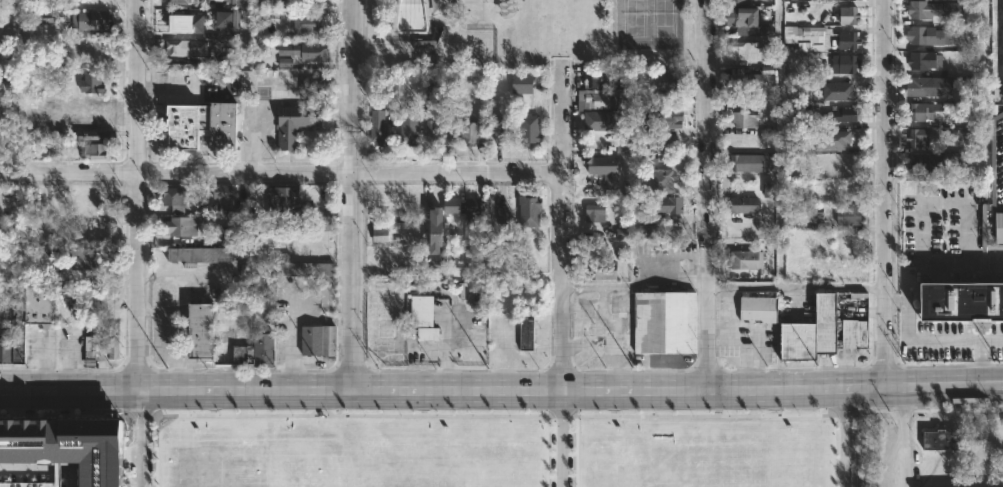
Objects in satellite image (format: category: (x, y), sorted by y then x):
building: (181, 1)
building: (228, 2)
building: (741, 2)
building: (282, 3)
building: (507, 5)
park: (474, 9)
building: (938, 11)
building: (849, 15)
building: (746, 17)
building: (93, 20)
building: (187, 23)
park: (632, 23)
building: (312, 24)
park: (665, 24)
building: (230, 26)
building: (436, 34)
building: (806, 36)
building: (928, 36)
building: (849, 39)
road: (383, 40)
building: (1002, 42)
building: (178, 48)
building: (307, 50)
building: (744, 50)
building: (921, 58)
building: (285, 62)
building: (175, 63)
building: (847, 64)
building: (746, 79)
building: (671, 81)
building: (318, 82)
building: (523, 83)
building: (11, 84)
building: (92, 84)
building: (921, 86)
building: (970, 86)
building: (839, 90)
building: (600, 94)
building: (921, 112)
building: (846, 115)
building: (55, 116)
building: (666, 117)
building: (747, 120)
building: (601, 121)
building: (296, 125)
building: (204, 127)
building: (431, 127)
building: (379, 128)
building: (409, 130)
building: (501, 130)
building: (530, 130)
building: (446, 131)
building: (470, 133)
building: (920, 138)
building: (832, 140)
building: (94, 151)
building: (938, 162)
parking lot: (998, 162)
building: (748, 163)
building: (955, 164)
building: (605, 170)
road: (281, 173)
building: (665, 180)
building: (768, 189)
building: (221, 191)
road: (886, 192)
road: (138, 193)
road: (353, 194)
road: (706, 195)
building: (175, 199)
building: (50, 200)
road: (921, 201)
building: (452, 204)
building: (670, 205)
building: (744, 205)
building: (474, 206)
building: (212, 208)
building: (530, 210)
building: (597, 213)
building: (504, 215)
building: (850, 216)
building: (285, 217)
building: (83, 220)
building: (647, 223)
road: (561, 226)
building: (182, 227)
building: (1000, 229)
building: (437, 230)
building: (380, 231)
building: (81, 235)
building: (228, 236)
parking lot: (948, 236)
building: (850, 239)
building: (199, 253)
building: (623, 253)
road: (661, 256)
building: (86, 258)
building: (746, 258)
road: (244, 259)
road: (985, 263)
building: (600, 266)
building: (288, 268)
road: (633, 286)
road: (795, 287)
building: (960, 303)
road: (290, 307)
building: (760, 308)
building: (422, 309)
road: (321, 316)
road: (604, 316)
building: (664, 323)
building: (528, 329)
building: (824, 330)
building: (429, 333)
road: (755, 334)
building: (227, 335)
building: (111, 339)
building: (320, 339)
building: (15, 340)
road: (927, 342)
parking lot: (951, 342)
road: (610, 345)
building: (91, 351)
road: (982, 361)
road: (501, 389)
road: (902, 435)
road: (139, 436)
road: (843, 437)
road: (560, 438)
building: (943, 438)
building: (67, 446)
road: (43, 471)
building: (30, 485)
parking garage: (30, 485)

